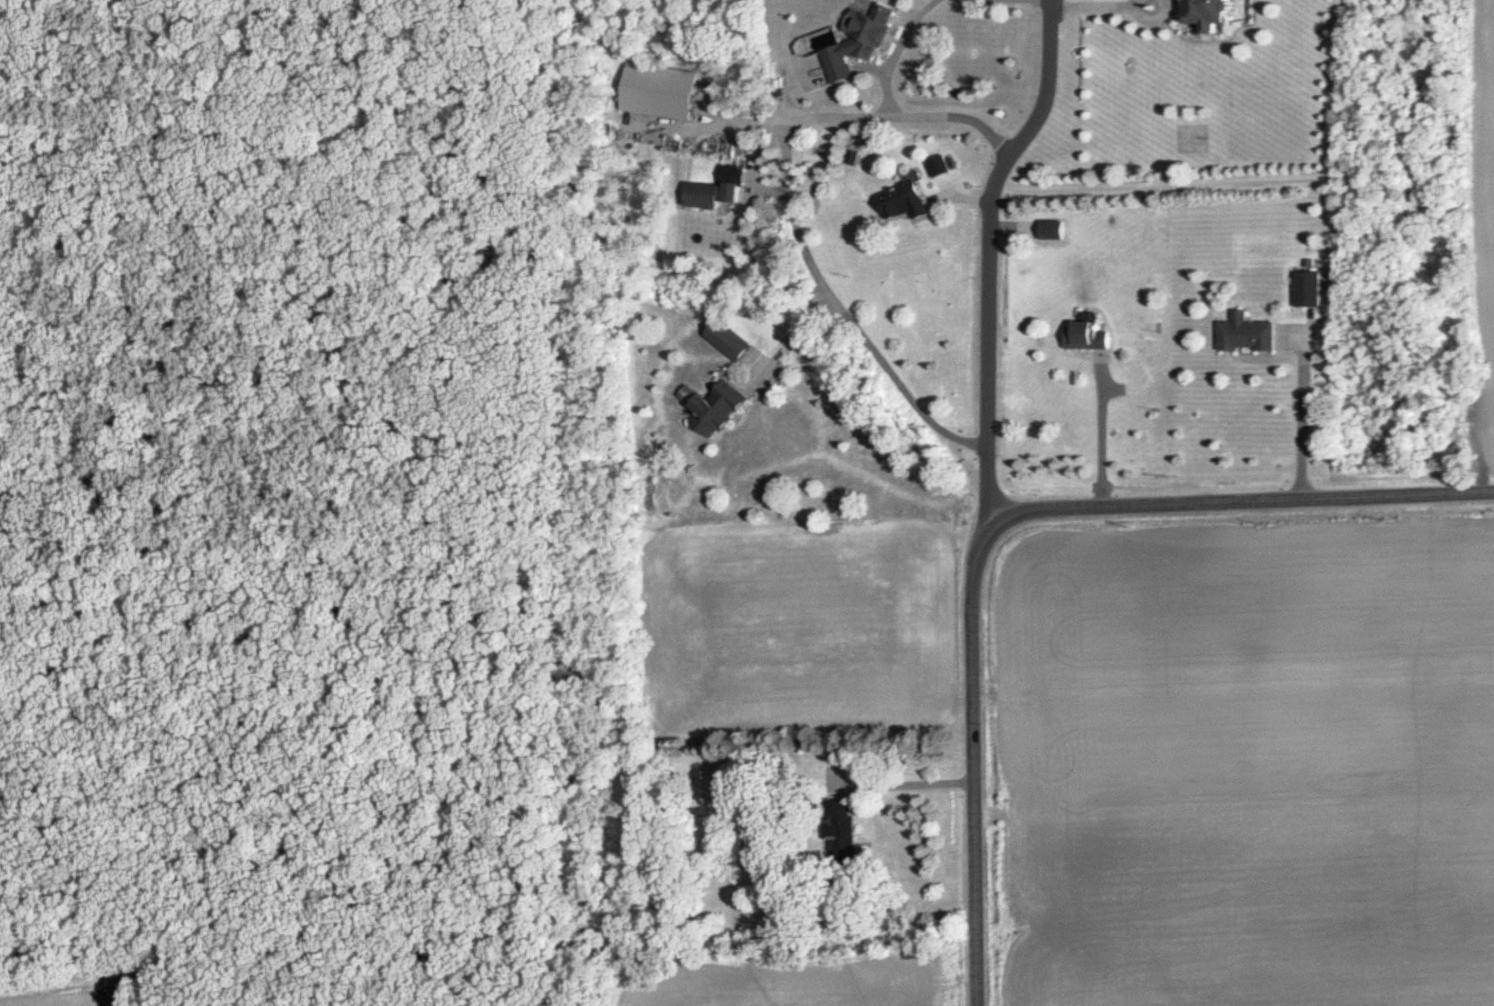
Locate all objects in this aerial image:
road: (1131, 1)
road: (1081, 2)
building: (1216, 14)
road: (1150, 15)
building: (863, 43)
road: (896, 51)
building: (670, 86)
building: (1190, 137)
building: (725, 189)
building: (908, 202)
road: (791, 205)
building: (1054, 230)
road: (970, 260)
building: (1311, 288)
building: (1249, 334)
road: (794, 337)
building: (1089, 337)
building: (737, 342)
building: (723, 410)
road: (1301, 411)
road: (1100, 433)
road: (1000, 518)
road: (907, 780)
building: (843, 836)

